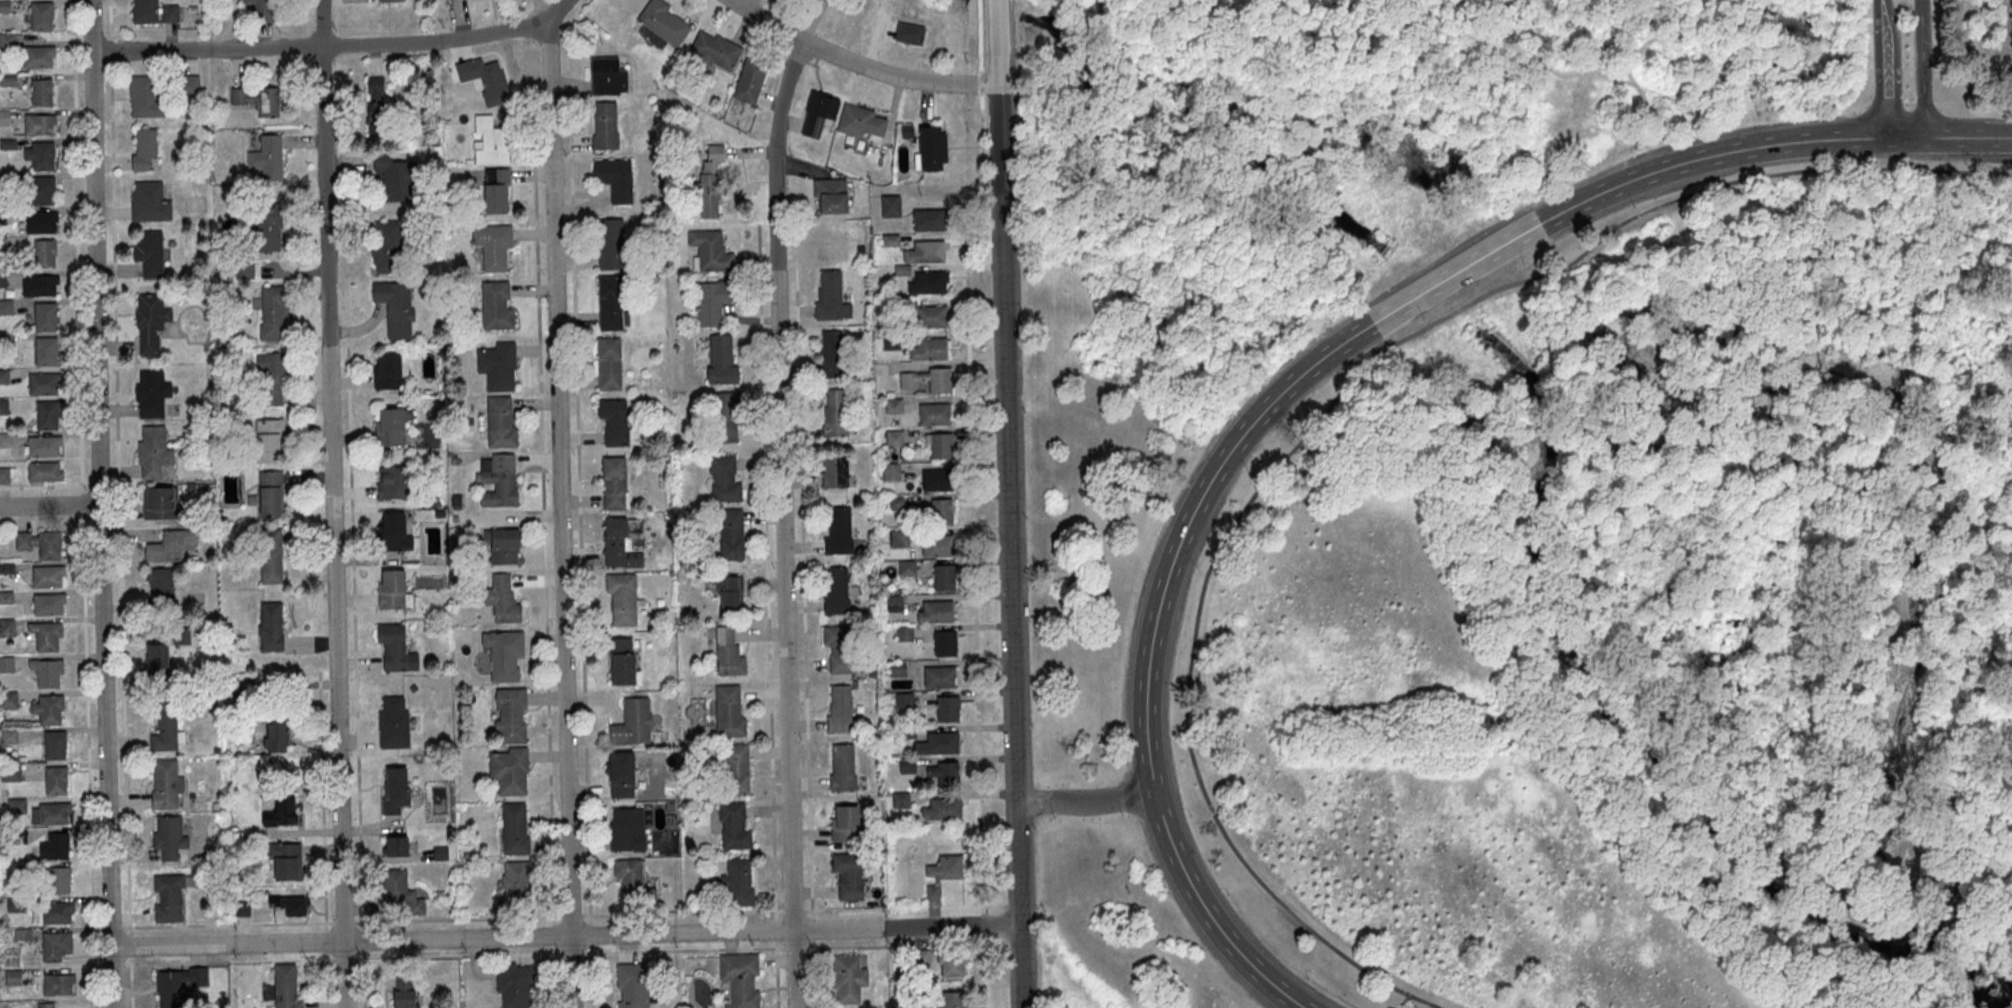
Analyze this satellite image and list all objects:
building: (390, 0)
building: (818, 0)
road: (557, 8)
building: (259, 9)
building: (144, 11)
building: (169, 13)
building: (41, 16)
building: (664, 25)
building: (910, 37)
road: (320, 45)
building: (716, 53)
building: (36, 56)
road: (858, 66)
road: (1923, 68)
road: (1884, 69)
building: (485, 80)
building: (608, 80)
building: (751, 82)
building: (188, 85)
building: (41, 92)
building: (143, 96)
building: (258, 100)
building: (376, 105)
building: (818, 116)
building: (3, 117)
building: (39, 124)
building: (860, 125)
building: (606, 130)
building: (907, 135)
road: (1968, 136)
building: (490, 140)
building: (144, 149)
building: (932, 151)
building: (39, 154)
building: (268, 158)
building: (393, 176)
building: (615, 181)
building: (710, 185)
building: (41, 190)
building: (496, 190)
building: (831, 199)
building: (149, 202)
building: (891, 208)
building: (41, 222)
building: (929, 223)
building: (267, 228)
building: (891, 243)
building: (493, 245)
building: (386, 246)
road: (77, 247)
building: (612, 248)
building: (44, 252)
road: (114, 252)
building: (149, 253)
building: (711, 254)
building: (926, 255)
building: (902, 272)
building: (39, 285)
building: (928, 286)
building: (831, 302)
building: (713, 303)
building: (496, 305)
building: (611, 306)
building: (396, 307)
building: (892, 309)
building: (272, 313)
building: (45, 316)
building: (929, 320)
building: (150, 322)
building: (892, 345)
building: (45, 351)
building: (929, 351)
building: (832, 357)
building: (721, 364)
building: (498, 365)
building: (610, 368)
building: (390, 370)
building: (3, 377)
building: (270, 378)
building: (42, 383)
building: (911, 383)
building: (940, 384)
road: (1283, 391)
building: (151, 393)
road: (309, 394)
building: (3, 406)
building: (893, 406)
road: (1326, 409)
building: (46, 415)
building: (834, 415)
building: (725, 416)
building: (935, 417)
building: (500, 422)
building: (614, 425)
building: (392, 426)
road: (314, 434)
building: (270, 440)
building: (894, 440)
building: (44, 446)
building: (942, 449)
building: (153, 453)
building: (44, 471)
building: (834, 471)
road: (309, 473)
building: (890, 473)
building: (7, 475)
building: (723, 479)
building: (938, 479)
building: (498, 480)
road: (99, 484)
building: (392, 484)
building: (613, 484)
road: (44, 485)
road: (113, 485)
building: (270, 494)
building: (158, 502)
park: (1528, 502)
road: (82, 504)
road: (98, 504)
road: (331, 504)
building: (894, 504)
road: (1008, 504)
road: (49, 505)
road: (579, 511)
road: (118, 512)
road: (559, 512)
building: (940, 513)
road: (100, 519)
road: (114, 519)
road: (45, 520)
road: (781, 521)
building: (394, 532)
building: (730, 535)
building: (838, 535)
building: (898, 539)
road: (543, 542)
building: (623, 542)
building: (49, 544)
building: (170, 545)
building: (504, 546)
building: (938, 547)
building: (270, 557)
building: (6, 568)
building: (906, 569)
road: (767, 570)
building: (47, 575)
building: (943, 577)
building: (730, 583)
building: (160, 586)
building: (393, 589)
road: (804, 591)
building: (836, 593)
building: (6, 597)
building: (502, 599)
building: (621, 599)
building: (729, 600)
building: (48, 603)
building: (894, 605)
building: (935, 611)
building: (270, 626)
building: (7, 627)
building: (45, 634)
building: (180, 635)
building: (904, 635)
road: (354, 636)
road: (976, 640)
building: (944, 644)
building: (396, 648)
building: (839, 650)
building: (727, 653)
building: (157, 654)
building: (505, 654)
building: (620, 661)
building: (6, 664)
building: (896, 670)
building: (46, 671)
building: (871, 676)
building: (938, 676)
building: (8, 699)
building: (903, 702)
building: (49, 709)
building: (947, 709)
building: (839, 711)
building: (728, 713)
building: (511, 715)
building: (393, 722)
building: (631, 724)
road: (123, 725)
building: (165, 731)
building: (905, 732)
building: (9, 736)
building: (276, 737)
building: (54, 744)
building: (937, 744)
road: (88, 761)
building: (907, 767)
building: (841, 769)
building: (509, 770)
building: (736, 770)
building: (10, 773)
building: (943, 773)
building: (620, 775)
building: (55, 780)
building: (166, 784)
building: (395, 789)
road: (322, 798)
building: (899, 801)
road: (1085, 802)
building: (15, 805)
building: (942, 809)
building: (281, 811)
building: (50, 813)
building: (844, 824)
building: (514, 828)
building: (733, 828)
building: (626, 831)
building: (169, 837)
building: (54, 846)
building: (396, 846)
building: (285, 859)
building: (945, 868)
building: (847, 876)
building: (59, 879)
building: (516, 882)
building: (632, 884)
building: (737, 884)
building: (401, 892)
building: (932, 893)
building: (169, 896)
building: (290, 906)
road: (844, 908)
building: (242, 909)
road: (792, 909)
building: (56, 912)
road: (681, 912)
road: (570, 914)
road: (457, 917)
road: (343, 920)
road: (225, 923)
road: (949, 925)
road: (114, 926)
road: (811, 927)
road: (775, 928)
road: (588, 932)
road: (553, 933)
road: (361, 937)
road: (495, 937)
road: (325, 938)
road: (129, 942)
building: (56, 944)
road: (844, 944)
road: (793, 945)
road: (682, 948)
road: (571, 951)
road: (457, 953)
road: (329, 957)
road: (343, 957)
building: (919, 959)
road: (175, 961)
road: (98, 962)
road: (112, 962)
building: (951, 962)
road: (776, 972)
road: (812, 972)
road: (553, 975)
road: (590, 975)
road: (326, 978)
road: (362, 978)
building: (739, 979)
building: (848, 979)
road: (130, 980)
building: (58, 984)
building: (176, 985)
building: (634, 986)
building: (285, 987)
building: (405, 992)
building: (951, 999)
river: (2003, 999)
building: (47, 1005)

